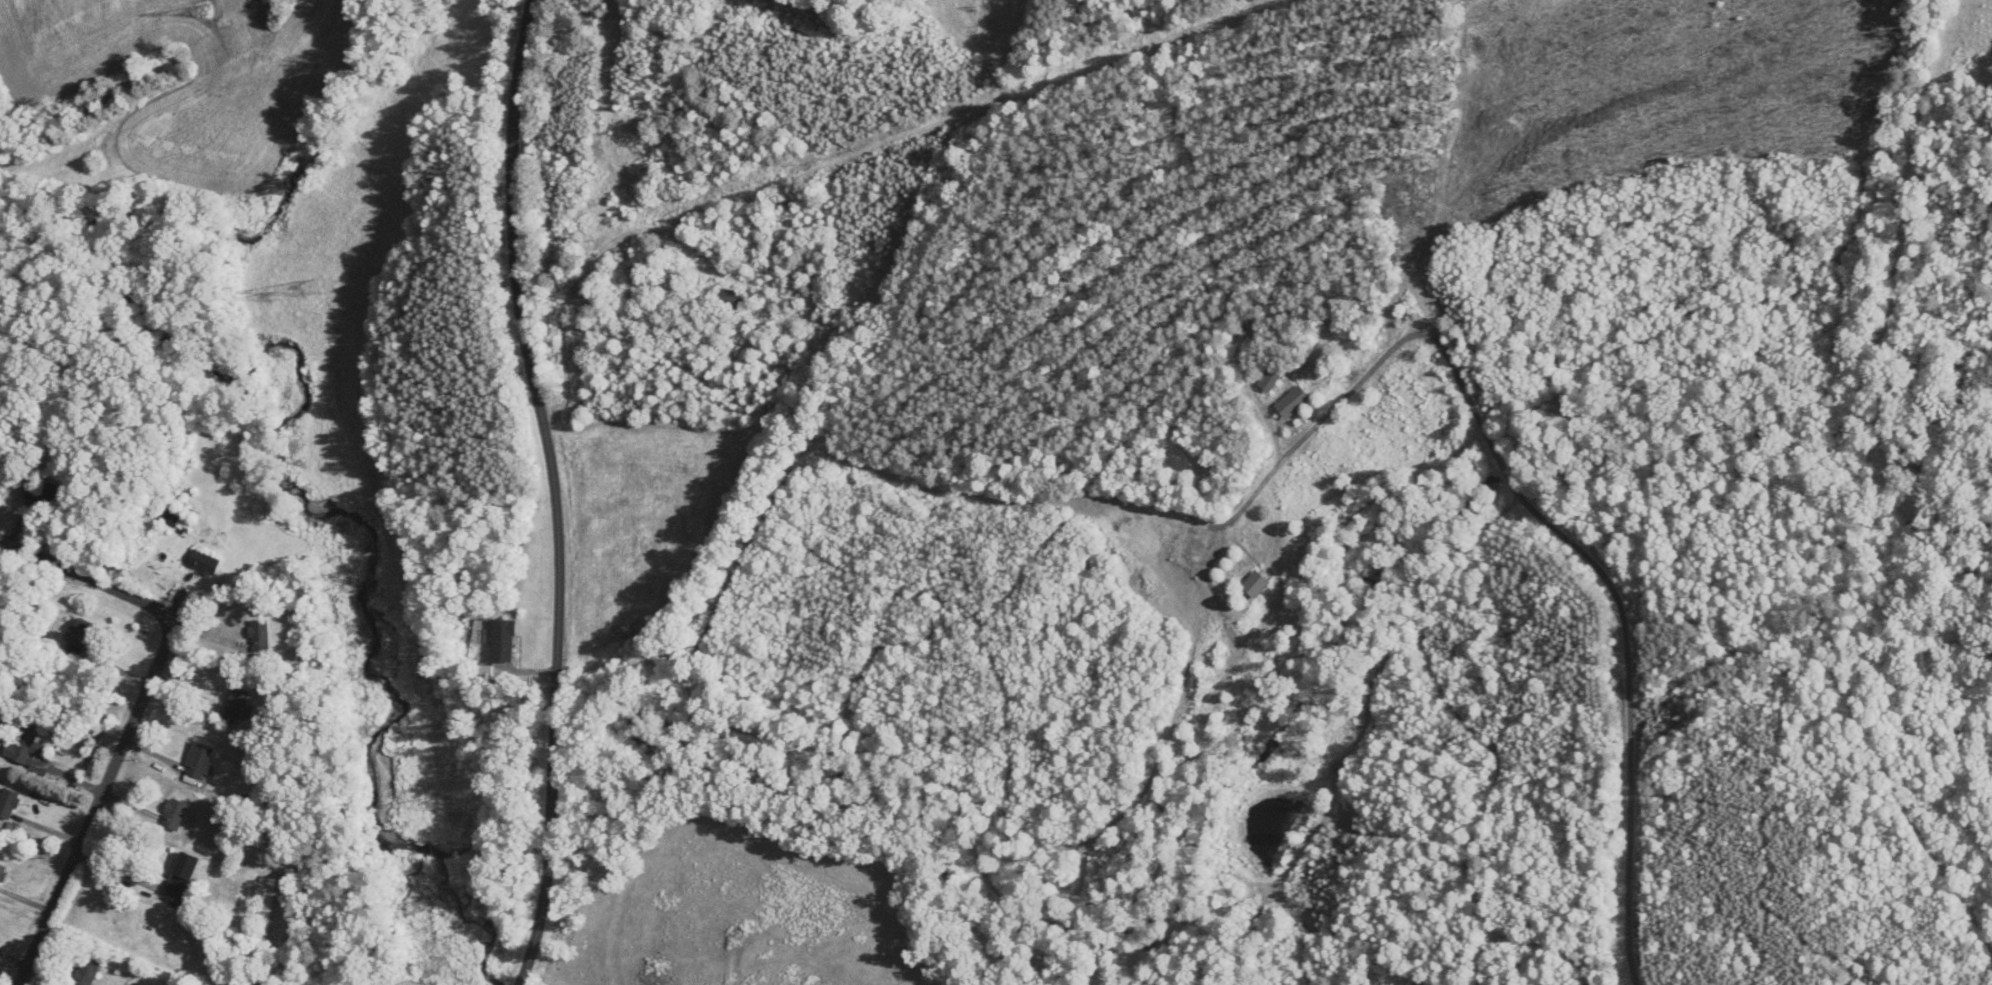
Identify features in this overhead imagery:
power tower: (204, 7)
power tower: (276, 294)
building: (733, 299)
road: (542, 386)
building: (42, 494)
building: (176, 517)
road: (1543, 518)
building: (205, 563)
power tower: (346, 576)
road: (90, 582)
building: (1257, 584)
building: (260, 635)
building: (81, 638)
building: (504, 641)
building: (486, 676)
building: (236, 706)
building: (26, 748)
building: (199, 760)
road: (562, 780)
building: (9, 803)
road: (100, 803)
building: (175, 814)
building: (3, 873)
building: (184, 877)
road: (554, 887)
power tower: (428, 904)
building: (88, 972)

